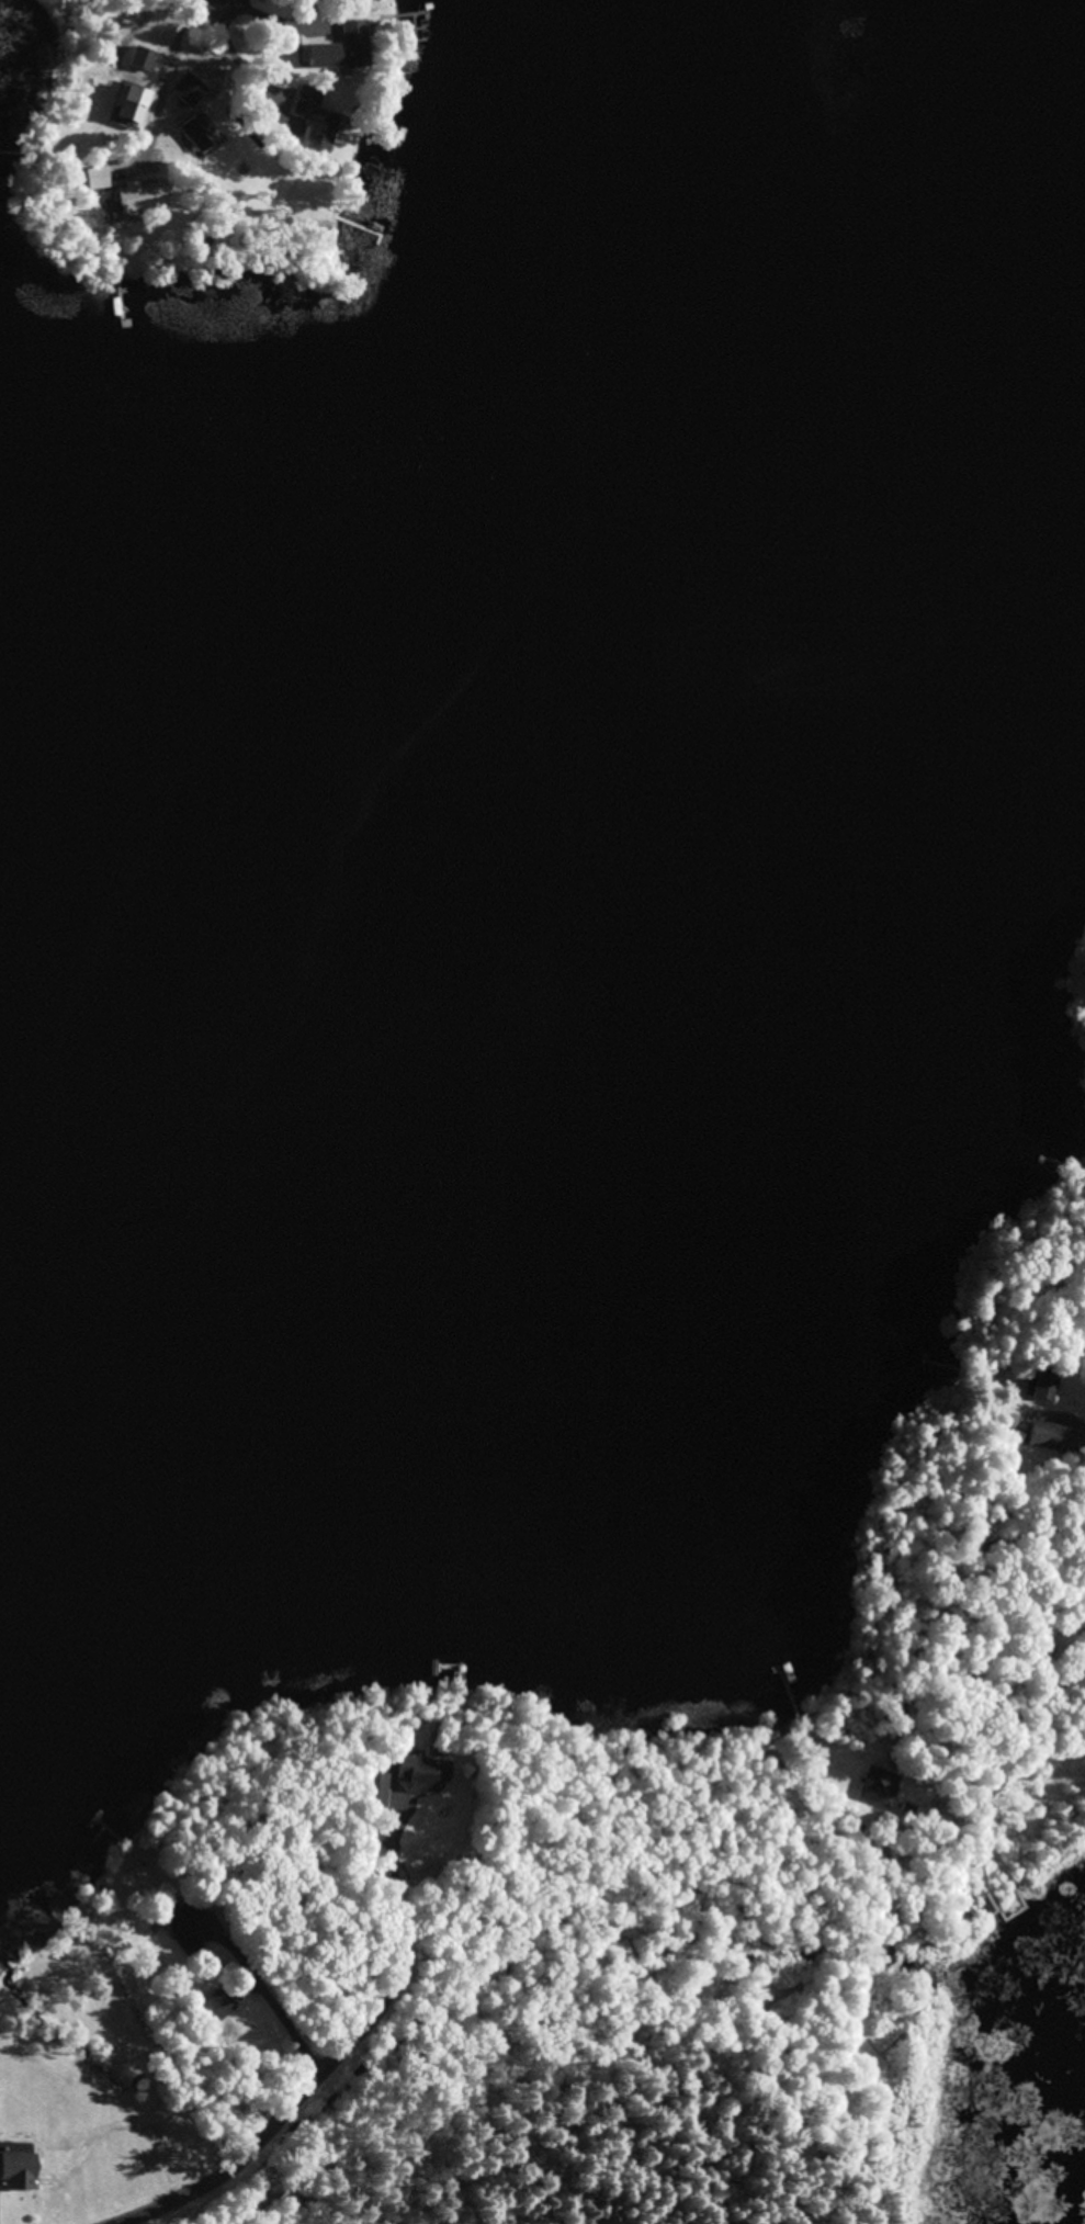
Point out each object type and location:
building: (354, 45)
building: (142, 61)
building: (326, 61)
building: (187, 93)
building: (128, 106)
building: (314, 123)
building: (196, 134)
building: (1040, 1387)
building: (1044, 1438)
building: (1011, 1442)
road: (988, 1740)
building: (418, 1776)
building: (878, 1788)
building: (372, 1792)
building: (422, 1872)
building: (987, 1906)
building: (184, 1928)
building: (127, 2010)
building: (213, 2012)
road: (303, 2120)
building: (135, 2141)
building: (22, 2163)

